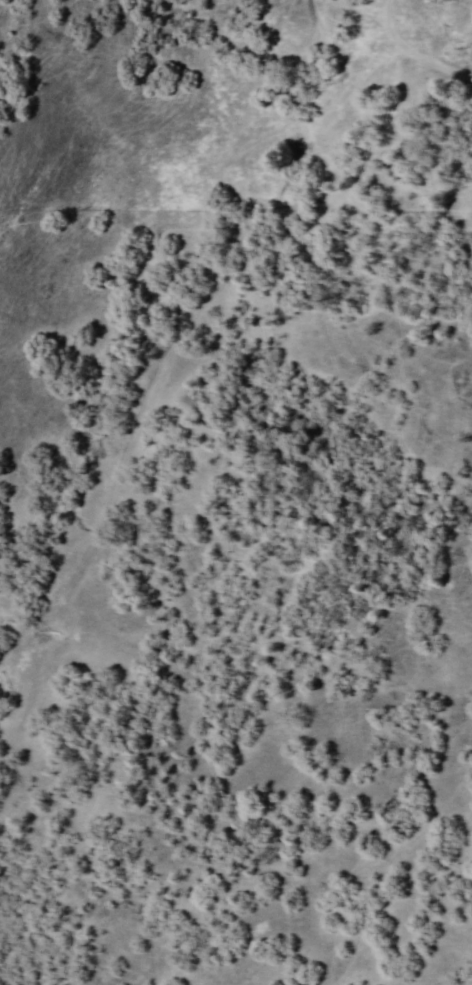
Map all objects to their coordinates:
road: (376, 164)
road: (115, 473)

